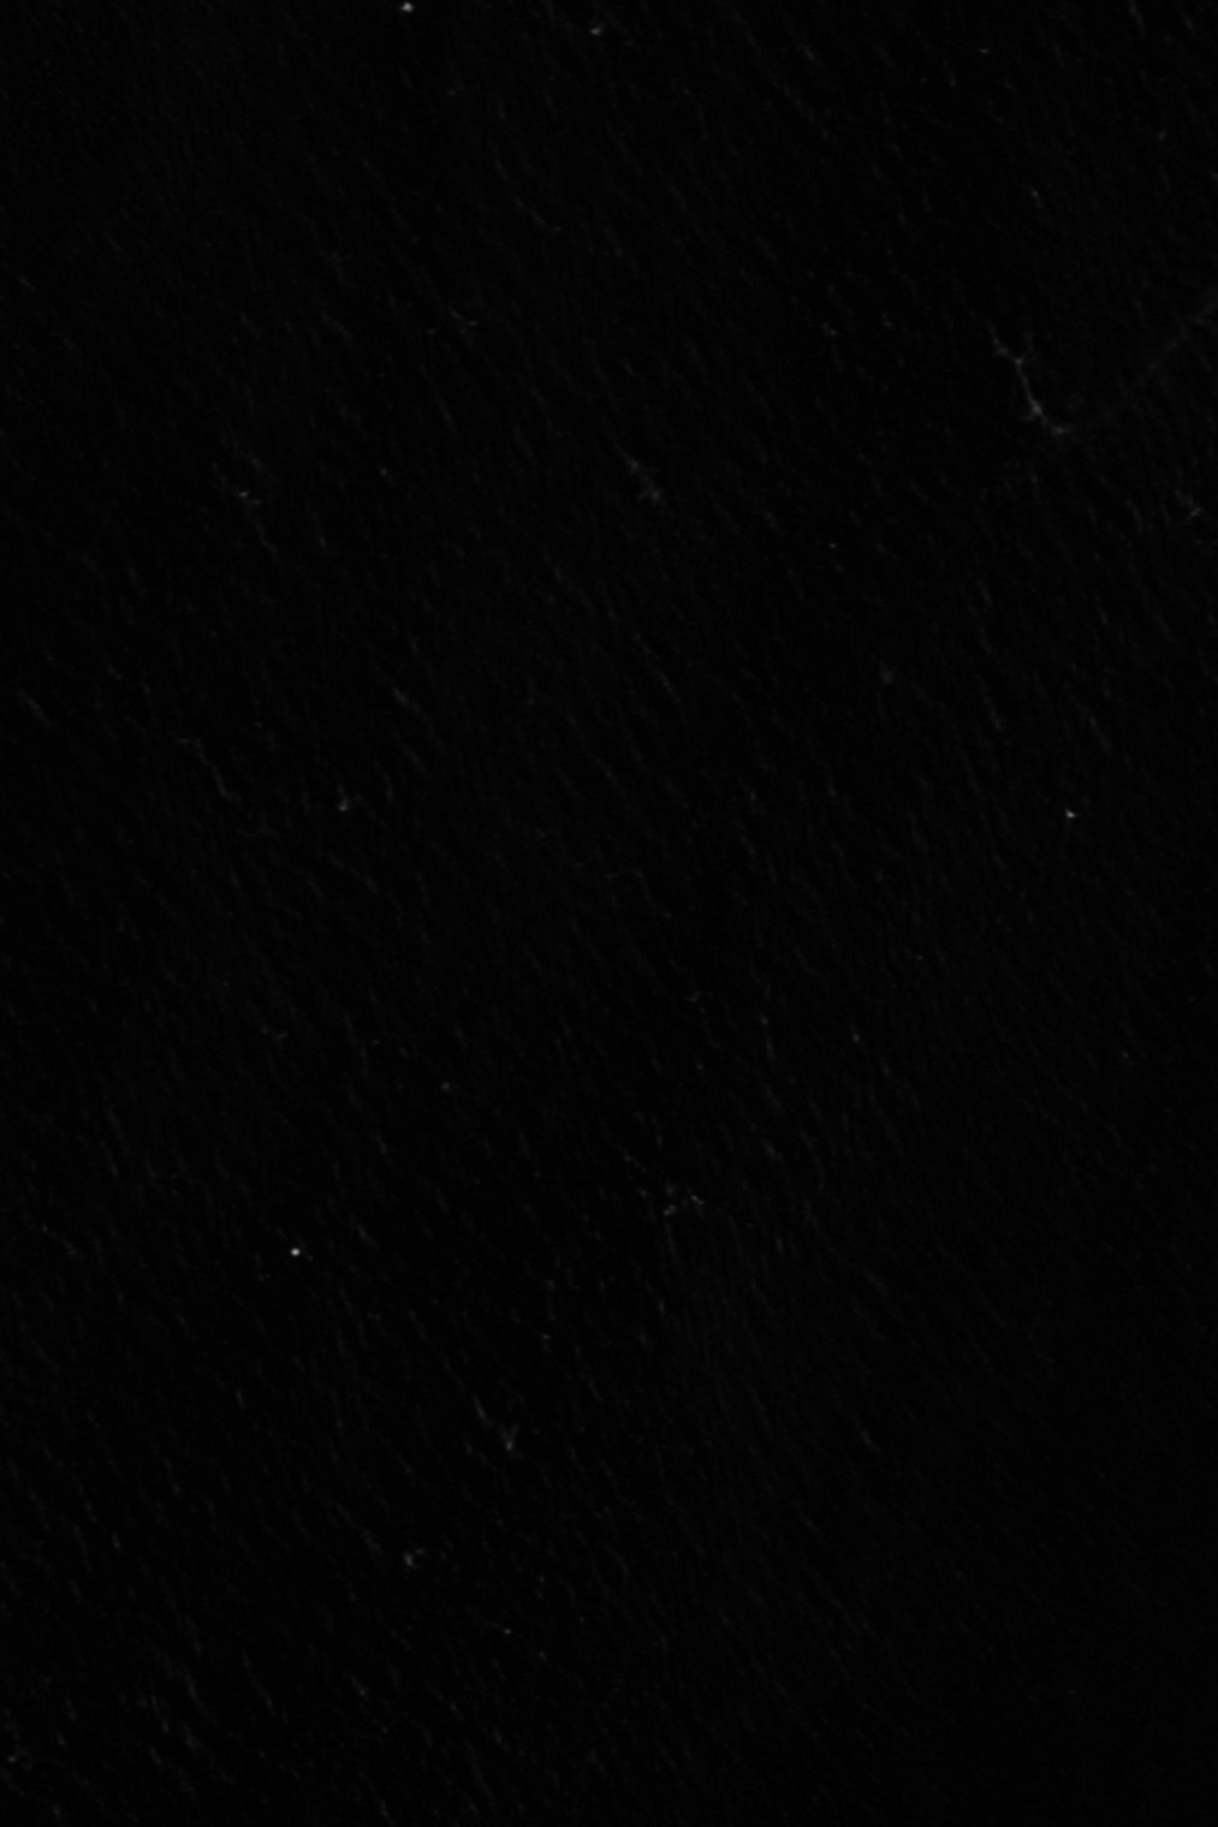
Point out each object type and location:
river: (559, 929)

